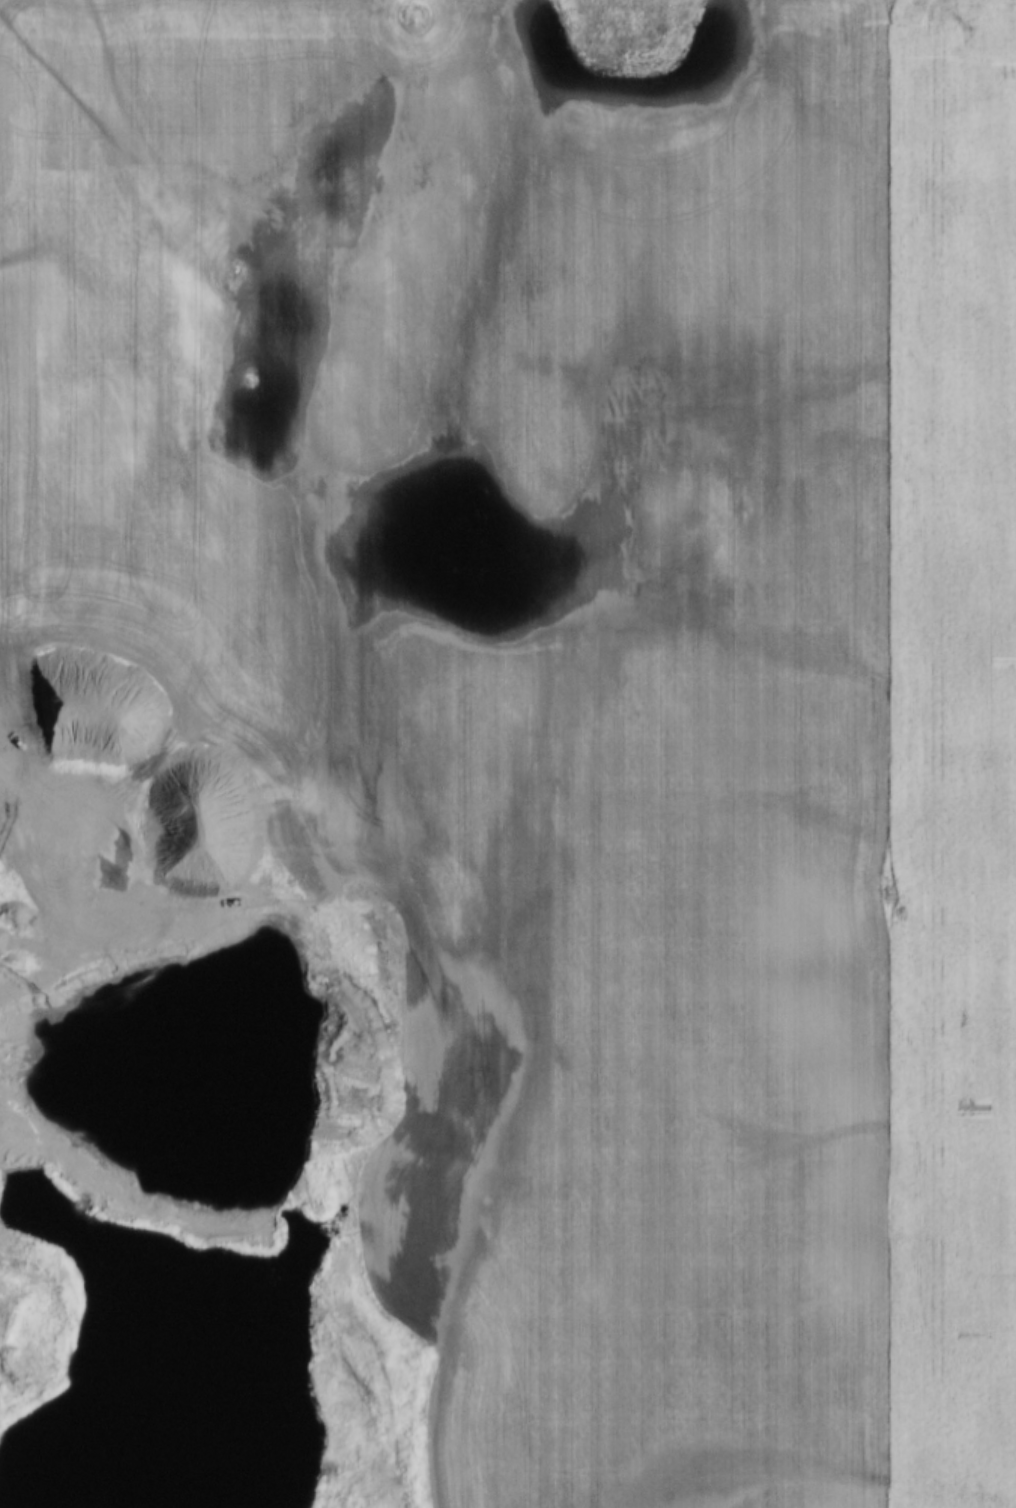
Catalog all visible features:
road: (12, 1148)
quarry: (178, 1263)

